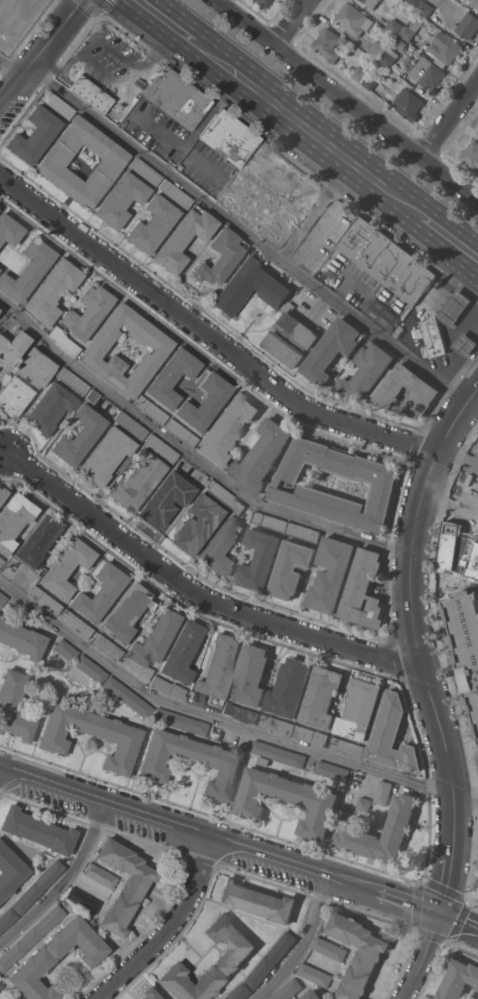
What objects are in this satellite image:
building: (371, 2)
building: (414, 2)
building: (262, 3)
building: (474, 3)
building: (425, 8)
road: (95, 12)
road: (181, 16)
building: (353, 19)
road: (291, 22)
building: (467, 25)
building: (394, 26)
building: (411, 30)
building: (327, 43)
building: (400, 43)
building: (444, 48)
road: (38, 49)
building: (376, 49)
building: (389, 57)
road: (9, 69)
building: (423, 71)
building: (360, 72)
building: (370, 82)
building: (90, 94)
building: (176, 99)
road: (346, 99)
building: (409, 104)
building: (57, 105)
road: (258, 110)
road: (449, 116)
building: (477, 131)
road: (340, 134)
building: (34, 135)
building: (228, 138)
building: (471, 153)
building: (110, 163)
building: (144, 171)
building: (174, 194)
building: (120, 200)
road: (312, 219)
building: (152, 224)
building: (9, 230)
road: (244, 235)
building: (184, 238)
road: (440, 249)
building: (220, 257)
building: (386, 260)
building: (27, 270)
building: (250, 287)
road: (459, 287)
building: (51, 291)
building: (454, 307)
building: (87, 313)
road: (472, 327)
road: (207, 335)
building: (290, 337)
building: (432, 337)
gas station: (432, 337)
building: (63, 341)
road: (450, 341)
building: (465, 344)
building: (12, 349)
building: (331, 349)
building: (93, 350)
building: (367, 370)
building: (172, 377)
building: (71, 381)
building: (24, 382)
building: (425, 389)
building: (204, 402)
building: (102, 404)
building: (49, 408)
building: (150, 410)
building: (130, 425)
building: (226, 428)
building: (180, 433)
building: (79, 436)
building: (160, 448)
road: (189, 454)
building: (105, 456)
building: (260, 456)
building: (137, 480)
building: (383, 484)
building: (3, 494)
building: (220, 494)
building: (165, 500)
building: (238, 507)
building: (14, 520)
building: (270, 521)
building: (196, 524)
building: (303, 531)
building: (37, 542)
building: (219, 547)
building: (259, 559)
building: (1, 561)
building: (67, 568)
building: (290, 568)
building: (331, 573)
building: (363, 590)
building: (100, 593)
road: (195, 595)
building: (2, 599)
building: (45, 601)
building: (126, 613)
building: (75, 624)
building: (21, 640)
building: (466, 640)
road: (416, 643)
building: (151, 644)
building: (106, 647)
building: (65, 650)
building: (181, 652)
road: (441, 659)
building: (90, 669)
building: (218, 669)
building: (250, 675)
building: (288, 687)
building: (167, 688)
building: (320, 696)
building: (127, 697)
building: (13, 706)
building: (359, 708)
building: (240, 712)
road: (210, 718)
building: (180, 722)
building: (277, 724)
building: (310, 735)
building: (392, 735)
building: (116, 736)
building: (346, 746)
building: (278, 753)
road: (462, 760)
building: (222, 767)
building: (331, 770)
building: (383, 791)
building: (311, 799)
building: (364, 803)
road: (465, 804)
road: (476, 813)
building: (397, 827)
building: (37, 831)
road: (239, 849)
building: (10, 872)
building: (99, 876)
building: (123, 884)
road: (64, 886)
building: (37, 887)
building: (82, 900)
building: (257, 900)
road: (471, 905)
traffic signals: (438, 911)
building: (6, 918)
road: (170, 929)
building: (30, 937)
road: (305, 946)
building: (329, 948)
building: (235, 953)
building: (357, 953)
road: (421, 956)
building: (56, 958)
building: (270, 959)
building: (314, 974)
building: (458, 978)
building: (0, 985)
building: (287, 989)
building: (238, 992)
building: (149, 994)
building: (312, 994)

